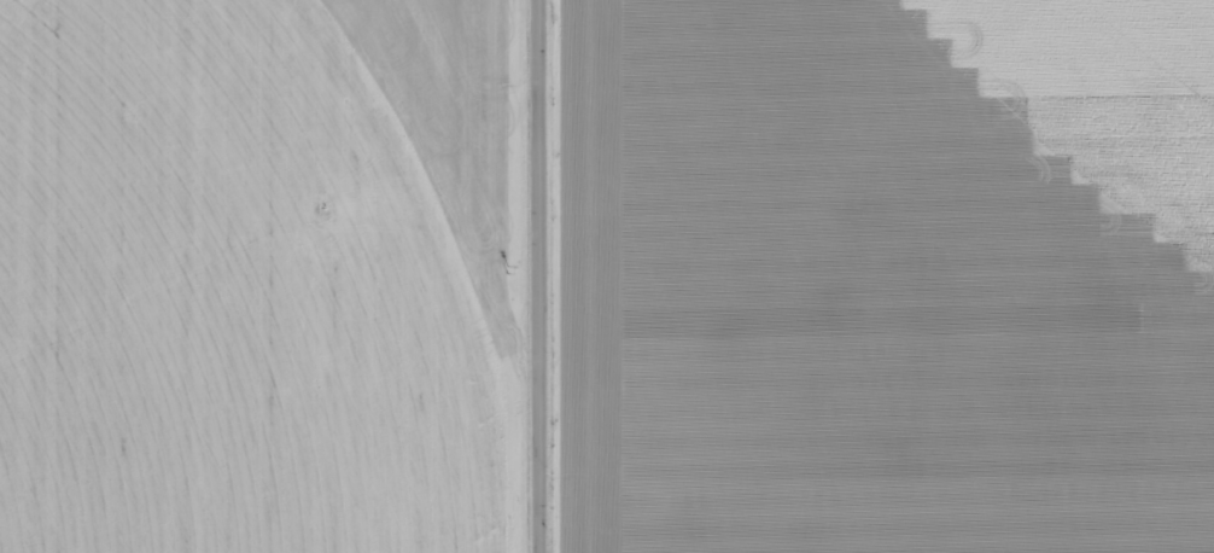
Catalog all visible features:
road: (533, 276)

